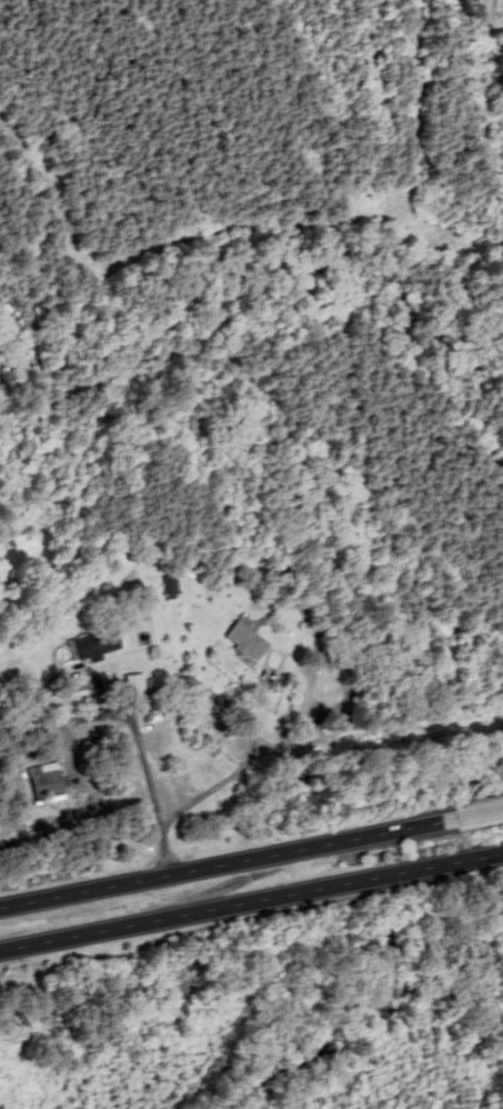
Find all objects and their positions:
building: (244, 641)
building: (94, 647)
building: (132, 685)
building: (44, 786)
road: (479, 813)
road: (487, 856)
road: (228, 862)
road: (235, 905)

